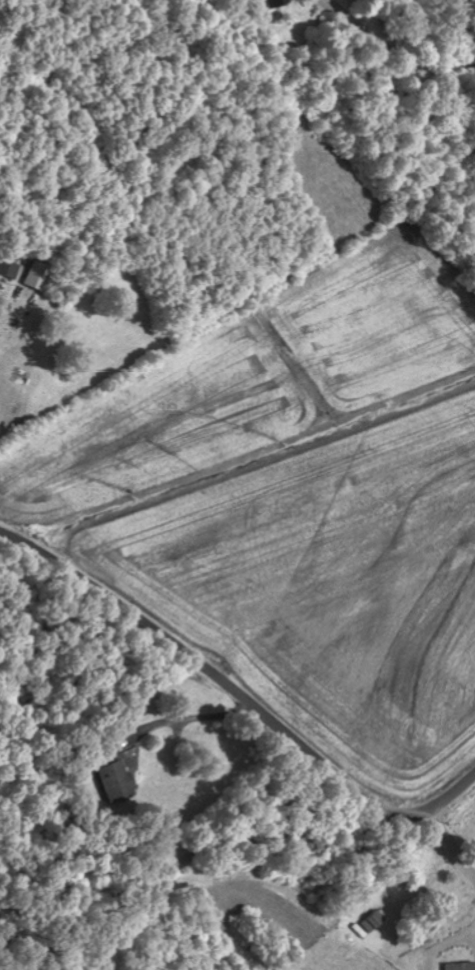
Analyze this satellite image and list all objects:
building: (9, 269)
building: (37, 276)
road: (239, 698)
building: (118, 782)
road: (449, 911)
building: (374, 921)
building: (461, 966)

